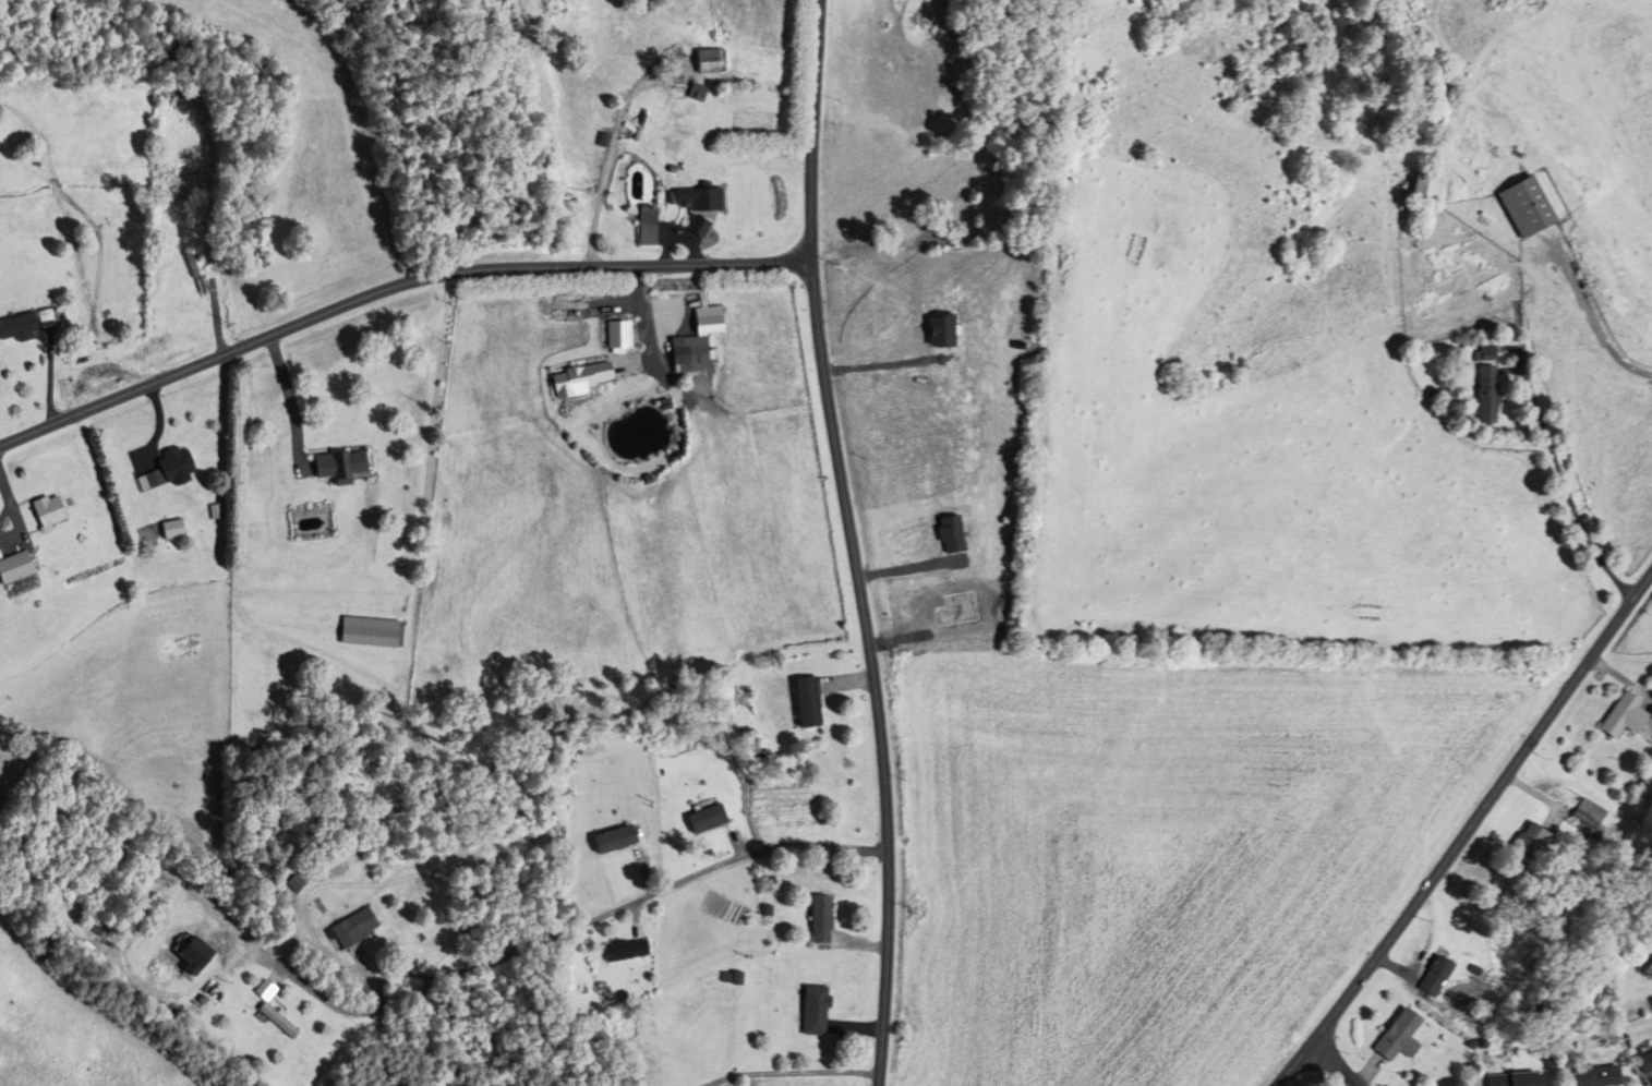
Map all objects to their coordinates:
building: (712, 61)
road: (599, 168)
building: (1426, 188)
building: (700, 198)
building: (1523, 205)
building: (650, 229)
building: (191, 265)
road: (393, 288)
building: (22, 325)
road: (1587, 325)
building: (689, 354)
building: (1486, 394)
road: (422, 456)
building: (171, 464)
building: (336, 467)
road: (1558, 475)
building: (47, 512)
road: (853, 542)
building: (17, 576)
building: (366, 633)
building: (807, 701)
building: (1626, 715)
building: (708, 819)
building: (1592, 820)
road: (1468, 835)
building: (614, 840)
building: (1531, 840)
road: (628, 906)
building: (820, 919)
building: (353, 929)
building: (625, 951)
road: (281, 970)
building: (1437, 974)
building: (260, 990)
building: (812, 1010)
building: (273, 1021)
building: (1400, 1036)
building: (1644, 1061)
road: (1340, 1064)
road: (794, 1072)
building: (1599, 1076)
building: (1514, 1078)

